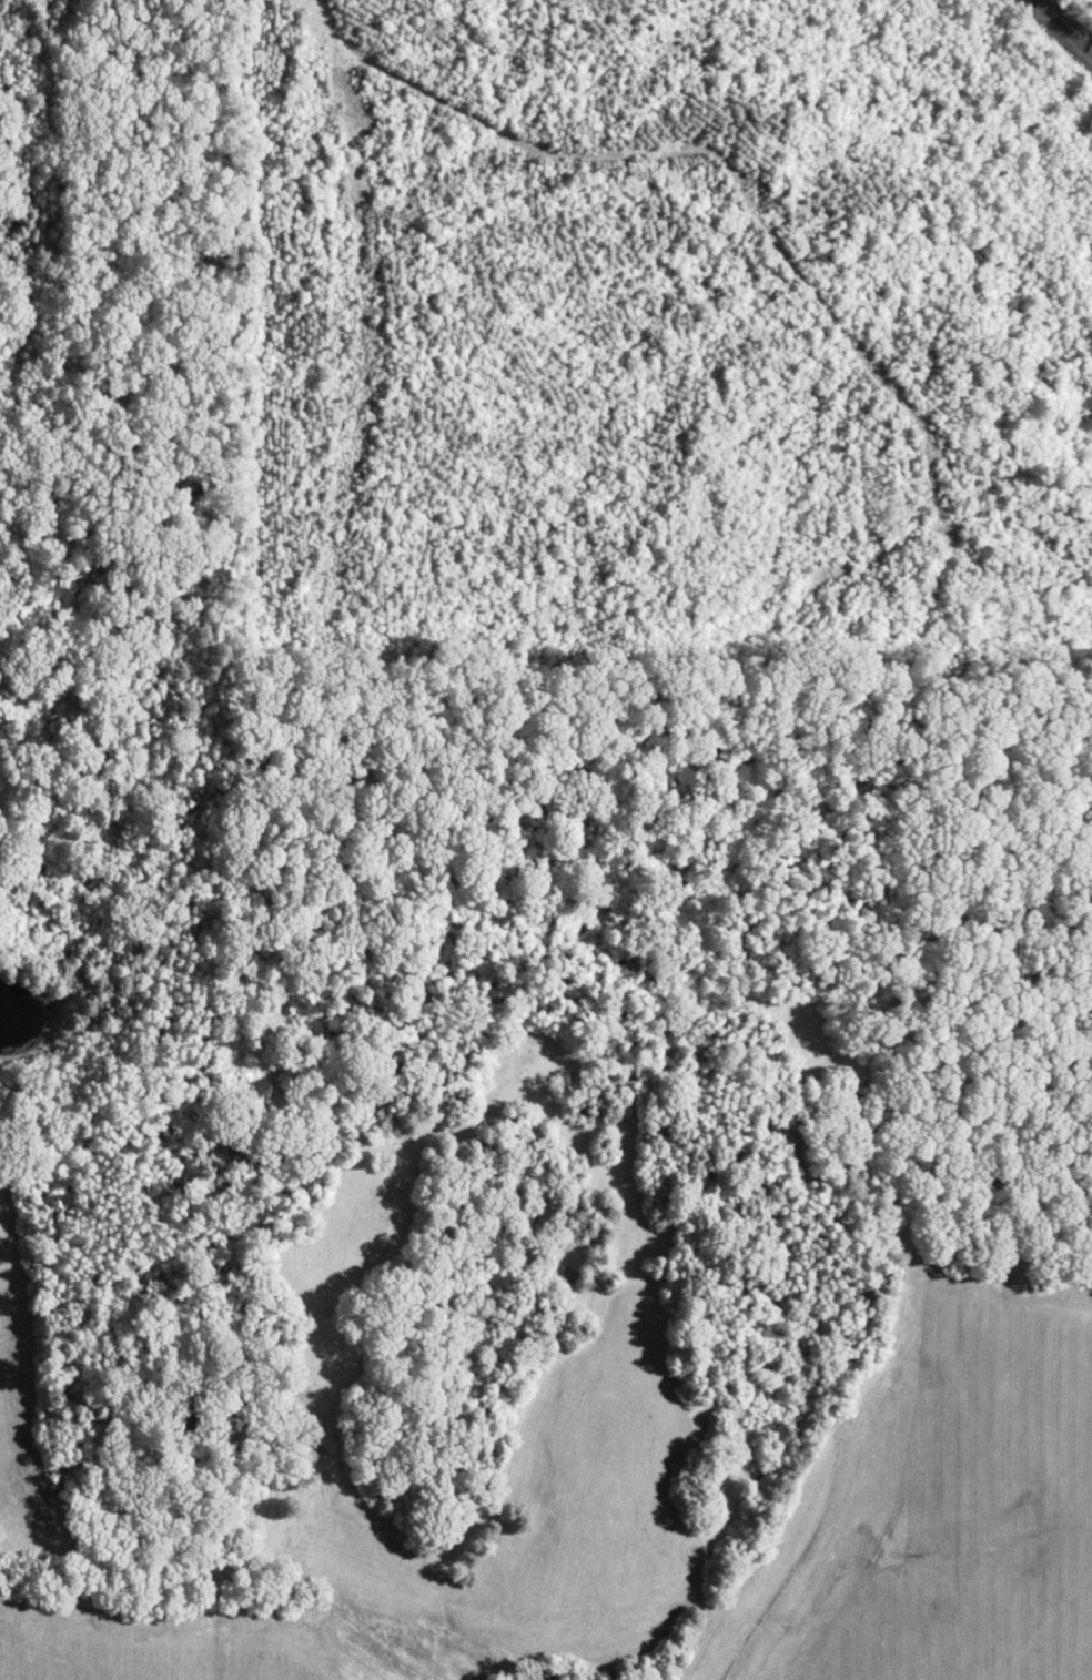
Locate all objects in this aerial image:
railway: (1062, 28)

